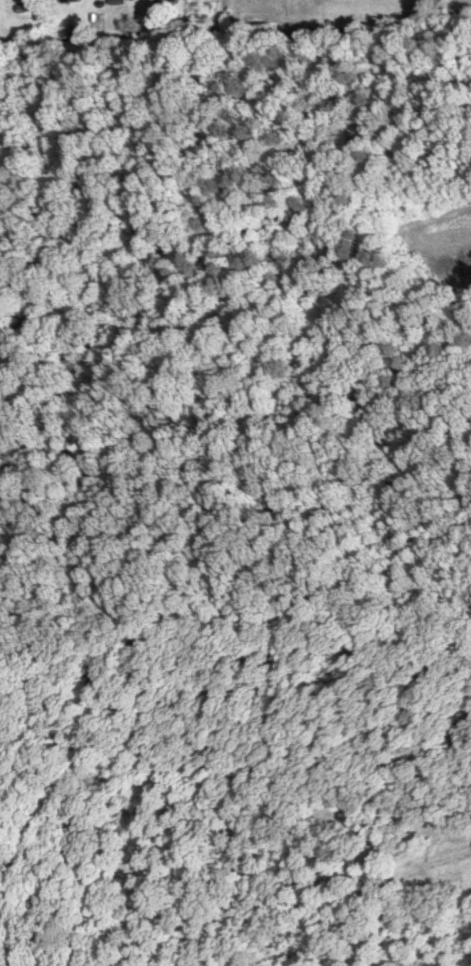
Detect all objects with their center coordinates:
building: (73, 1)

